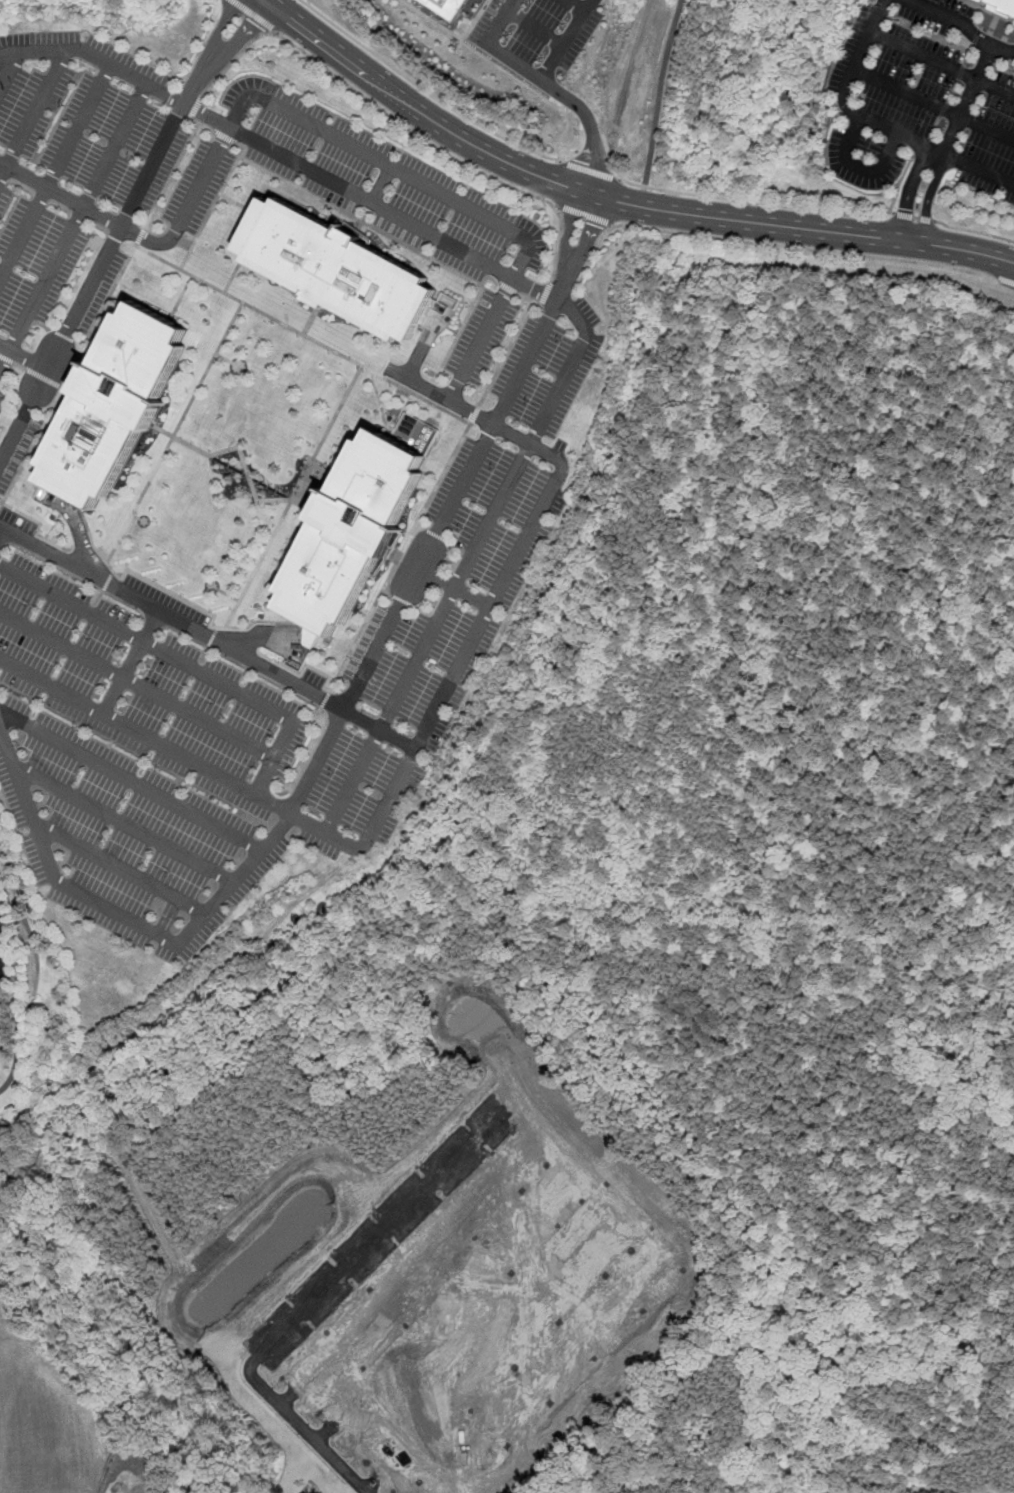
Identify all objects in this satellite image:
building: (1002, 5)
road: (577, 6)
building: (446, 7)
road: (250, 14)
road: (431, 19)
road: (963, 25)
road: (533, 29)
parking lot: (536, 35)
road: (218, 50)
road: (97, 54)
road: (945, 59)
road: (10, 71)
road: (532, 73)
road: (511, 76)
road: (630, 77)
road: (422, 89)
road: (660, 93)
parking lot: (925, 96)
road: (967, 99)
road: (935, 103)
road: (858, 112)
road: (35, 116)
road: (398, 121)
road: (592, 126)
road: (937, 150)
road: (939, 156)
parking lot: (92, 162)
road: (390, 163)
road: (589, 169)
road: (56, 171)
road: (380, 181)
parking lot: (380, 182)
road: (62, 193)
road: (614, 200)
road: (784, 204)
road: (190, 205)
road: (585, 214)
road: (912, 216)
road: (415, 222)
road: (74, 223)
road: (974, 231)
road: (801, 248)
road: (570, 268)
building: (337, 269)
road: (95, 280)
road: (1004, 281)
parking lot: (93, 290)
road: (182, 293)
road: (299, 331)
road: (24, 355)
parking lot: (523, 356)
road: (32, 372)
parking lot: (2, 373)
parking lot: (2, 395)
building: (115, 403)
road: (404, 410)
road: (168, 439)
parking lot: (15, 442)
road: (238, 445)
road: (287, 502)
building: (356, 530)
road: (2, 531)
road: (79, 538)
road: (426, 555)
road: (458, 581)
parking lot: (459, 581)
road: (456, 587)
road: (482, 623)
road: (208, 637)
road: (257, 640)
road: (129, 661)
road: (181, 662)
road: (136, 684)
road: (126, 726)
parking lot: (170, 752)
road: (132, 779)
road: (125, 824)
road: (122, 869)
road: (123, 916)
building: (2, 927)
building: (2, 934)
road: (35, 974)
road: (496, 1121)
road: (315, 1424)

